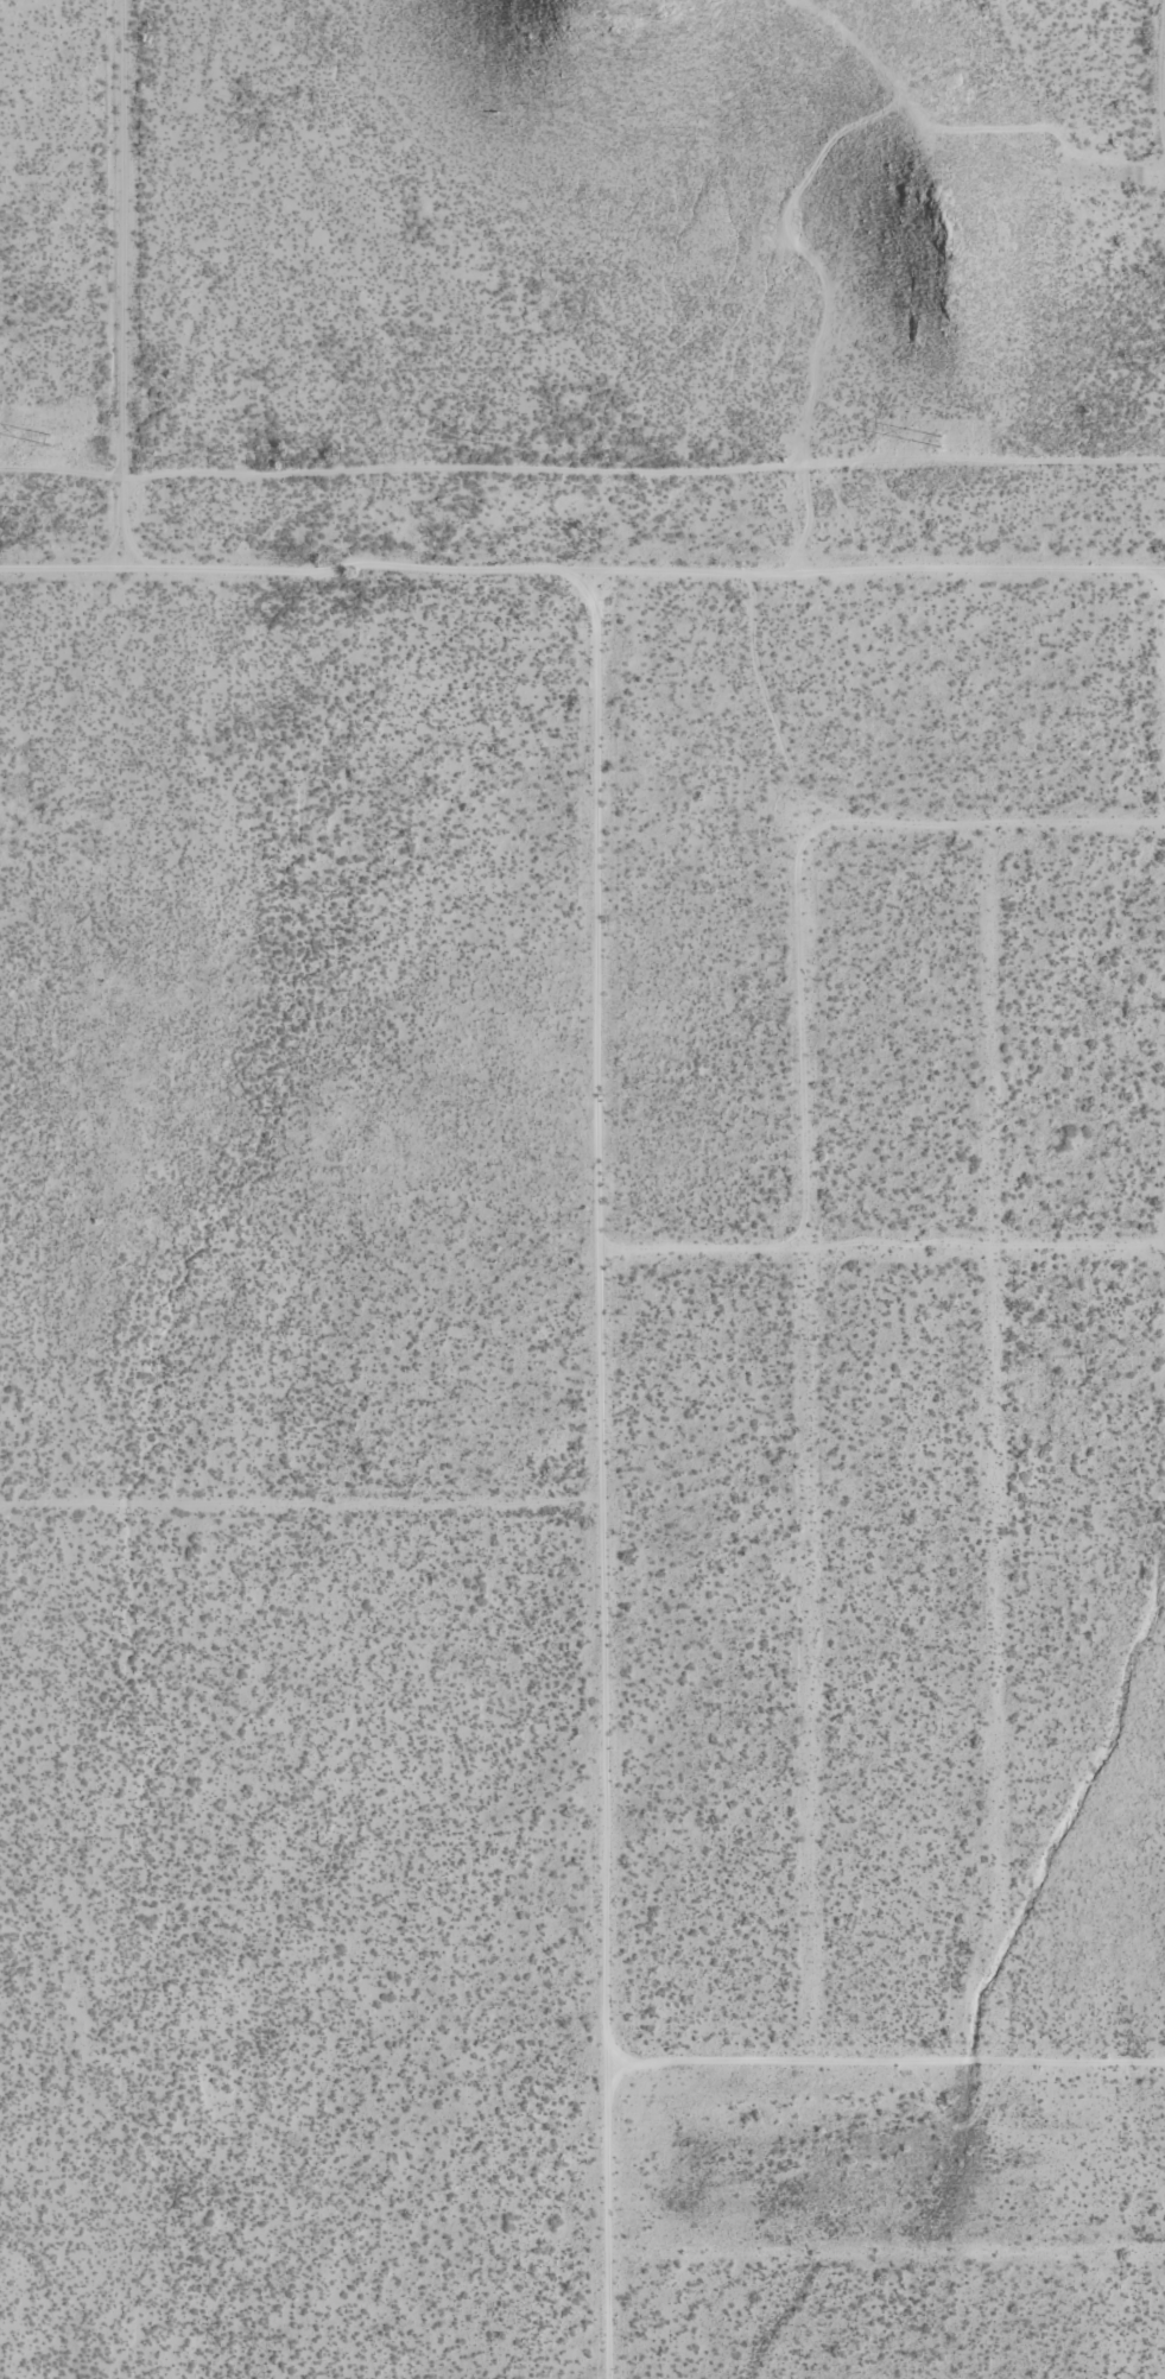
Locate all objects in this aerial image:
road: (1120, 195)
road: (122, 284)
road: (61, 568)
road: (642, 572)
road: (882, 1247)
road: (805, 1270)
road: (998, 1459)
road: (600, 1476)
road: (299, 1502)
road: (1098, 1777)
road: (885, 2080)
road: (885, 2251)

